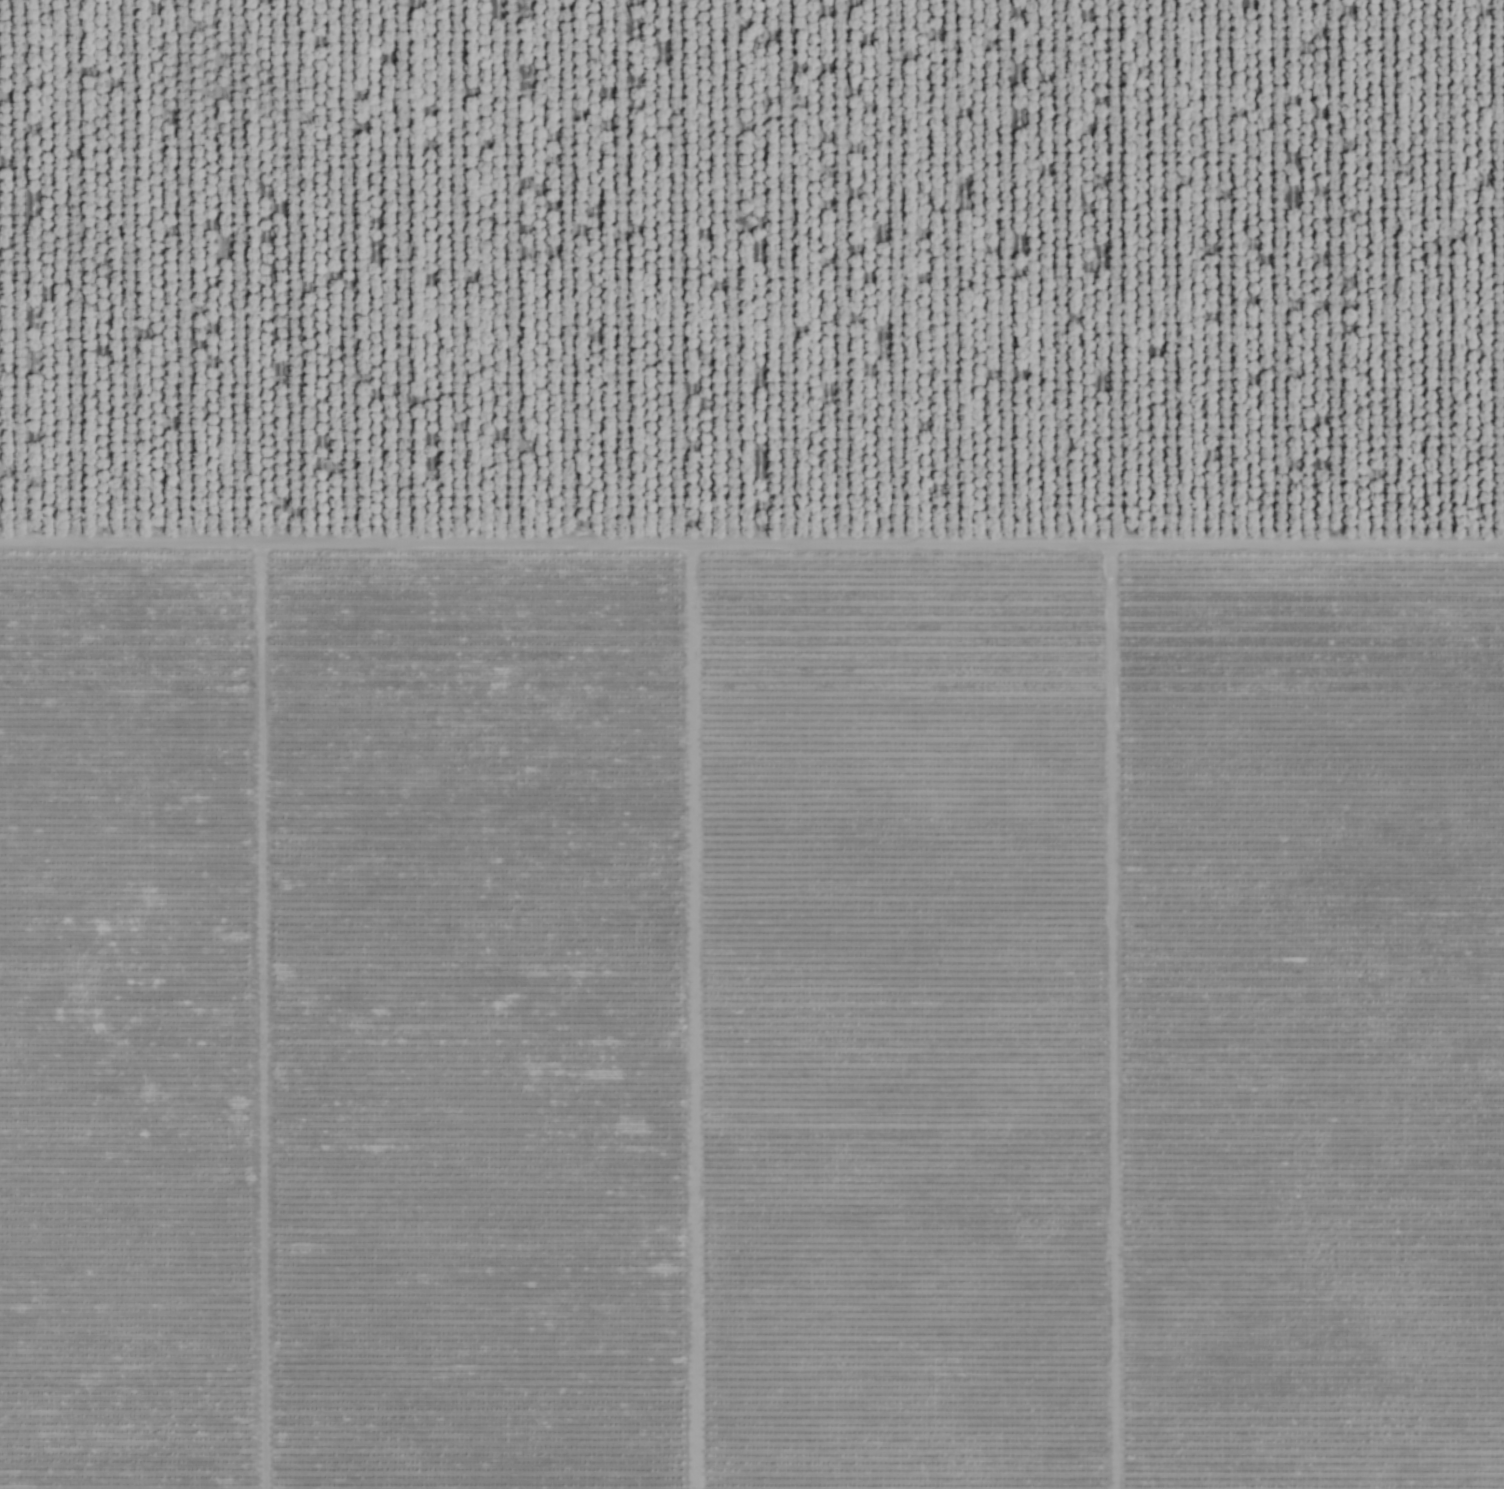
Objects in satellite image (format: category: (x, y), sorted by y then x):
road: (752, 532)
crop: (752, 744)

